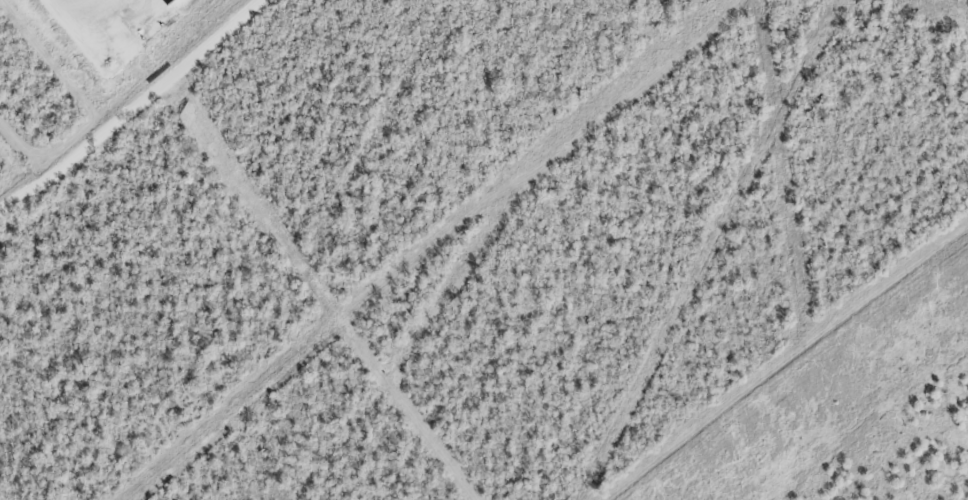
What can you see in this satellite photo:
road: (133, 106)

